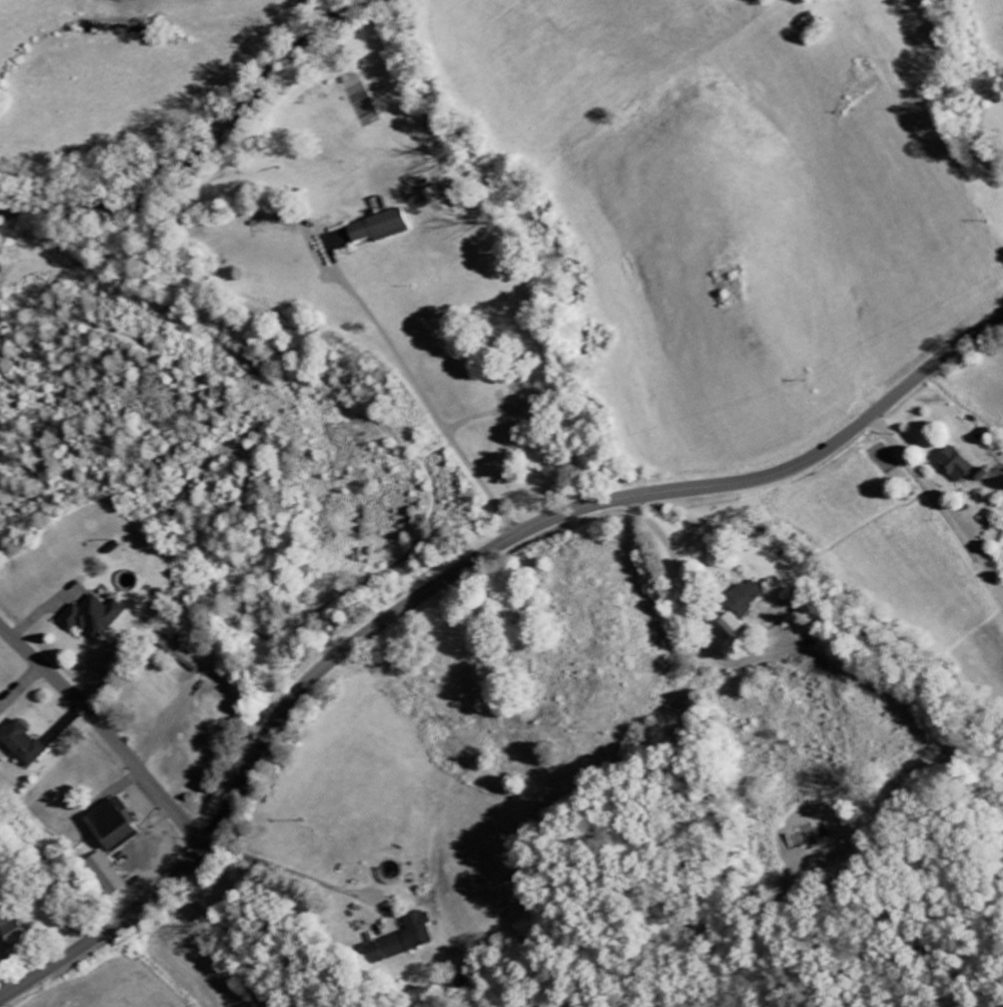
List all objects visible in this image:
building: (378, 227)
park: (734, 284)
building: (952, 464)
road: (382, 482)
road: (939, 502)
road: (448, 578)
building: (747, 599)
building: (93, 617)
building: (731, 626)
building: (177, 652)
road: (106, 730)
building: (23, 744)
building: (113, 826)
building: (107, 874)
building: (12, 934)
building: (413, 934)
road: (219, 946)

